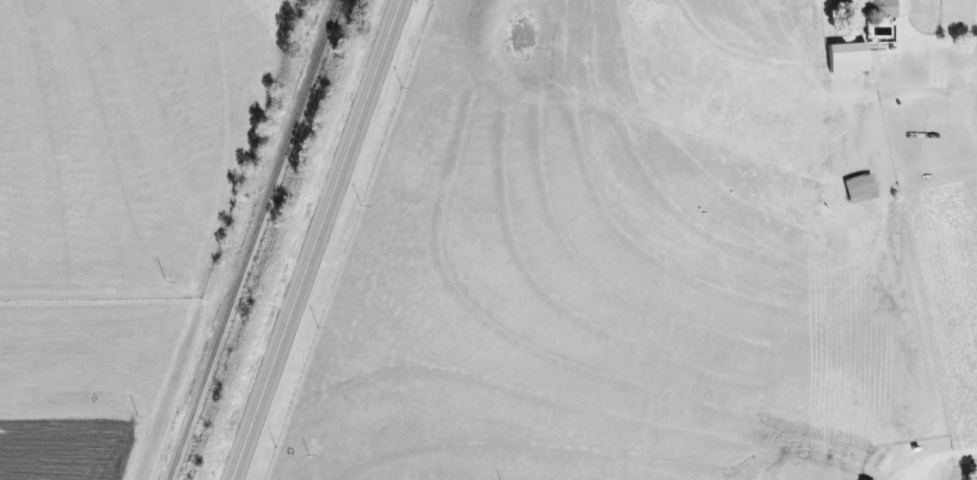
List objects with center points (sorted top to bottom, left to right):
building: (877, 8)
building: (847, 53)
road: (972, 109)
building: (859, 189)
railway: (251, 239)
road: (323, 239)

